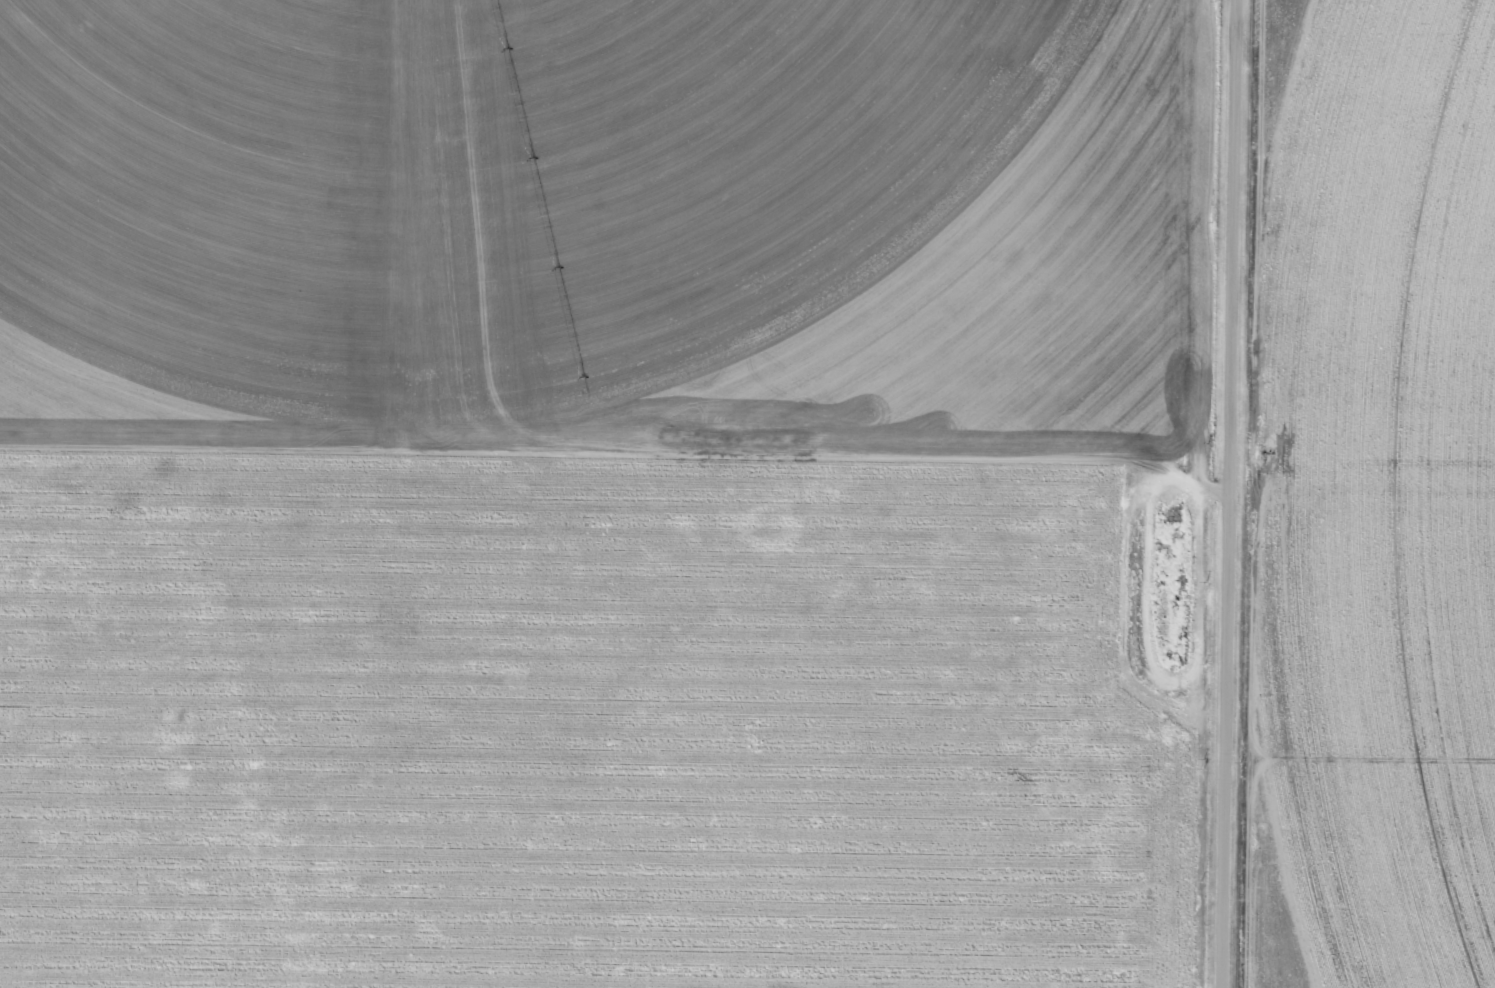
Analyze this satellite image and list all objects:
road: (1228, 494)
crop: (1379, 502)

